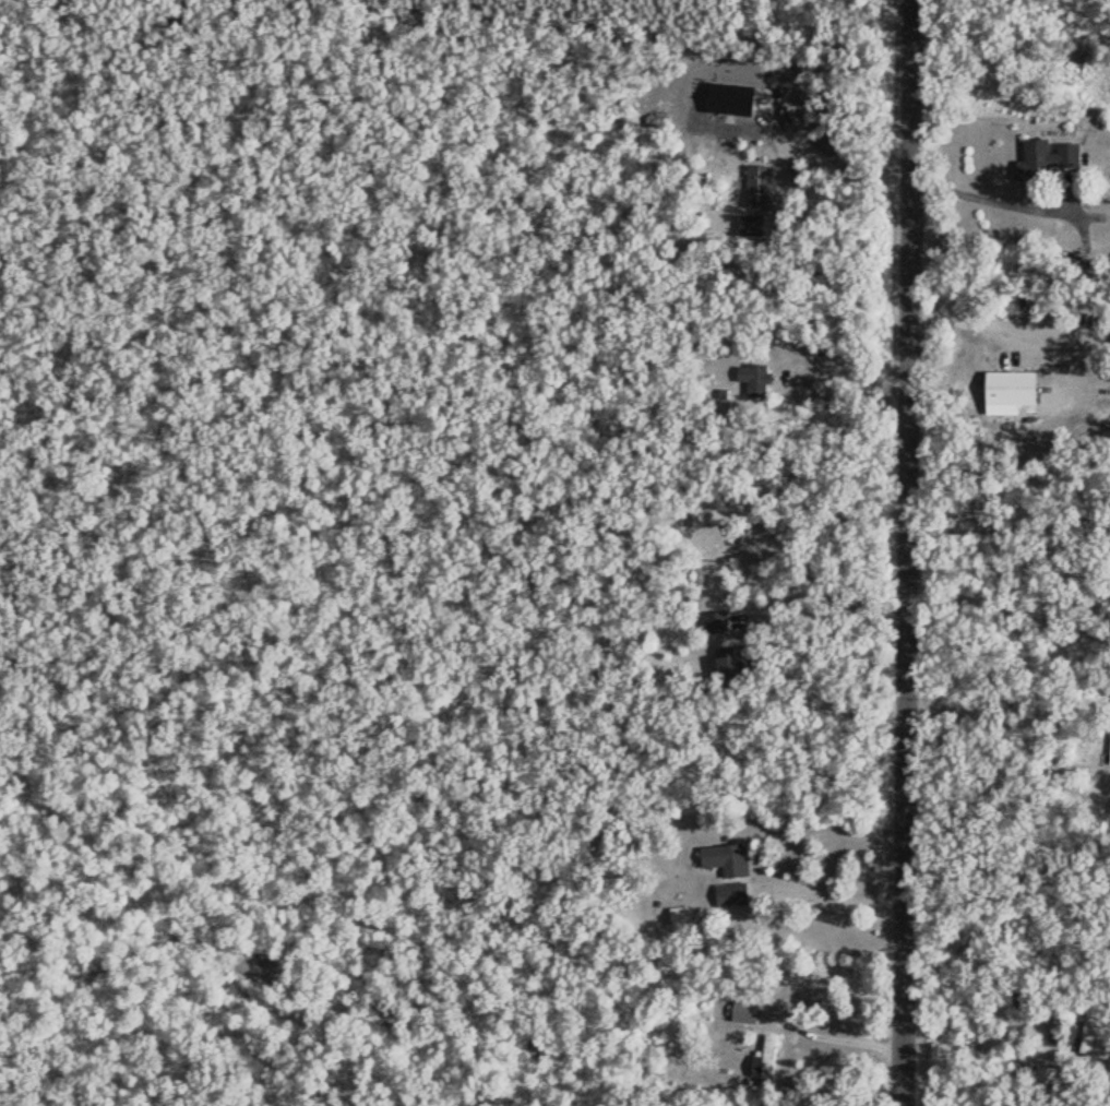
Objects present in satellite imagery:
building: (1042, 157)
road: (1008, 203)
building: (1008, 388)
road: (907, 552)
building: (1108, 748)
building: (736, 893)
building: (679, 916)
building: (742, 1011)
building: (1093, 1031)
building: (765, 1056)
building: (1046, 1075)

